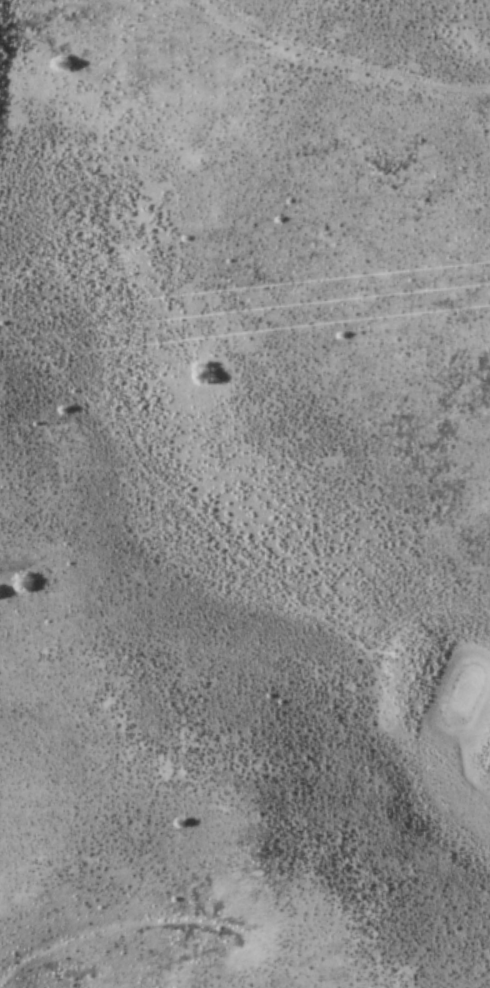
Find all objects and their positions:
road: (227, 513)

